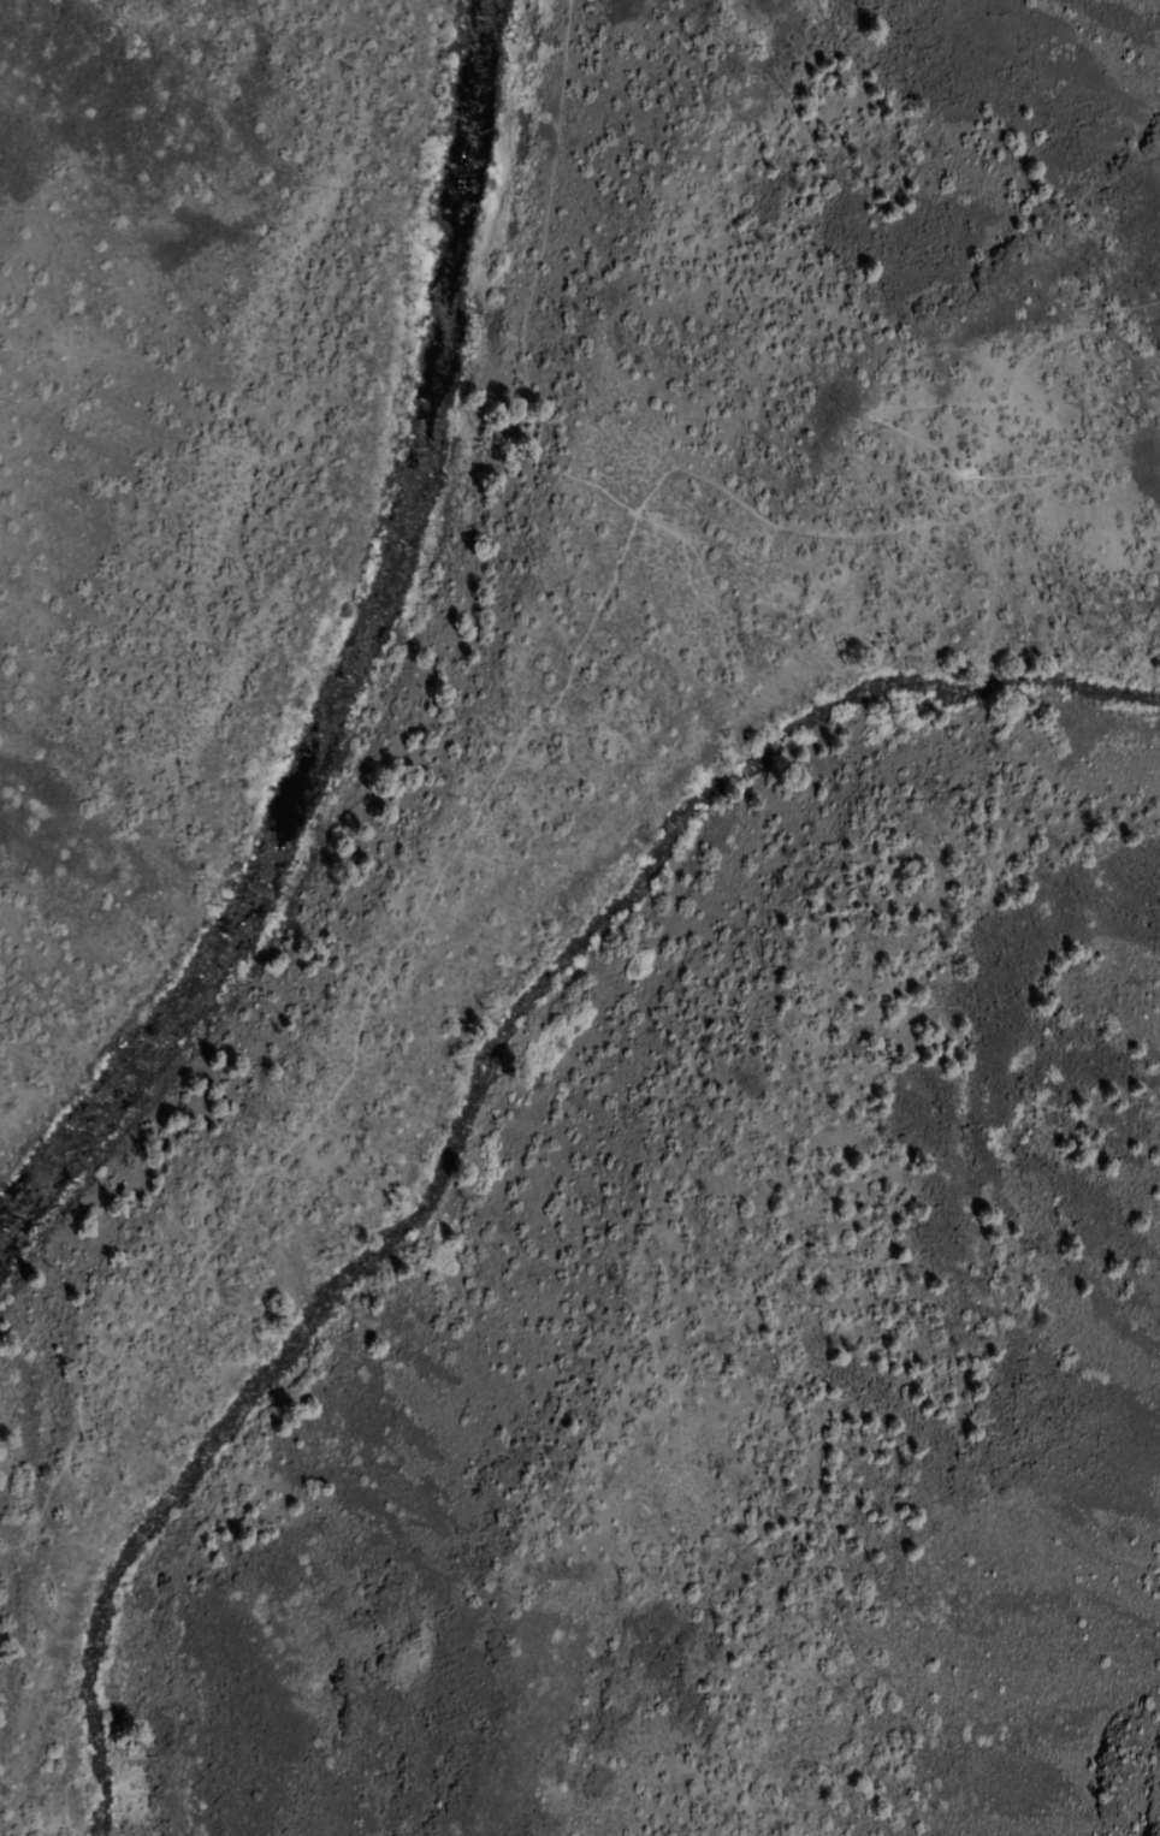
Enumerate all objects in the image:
road: (525, 322)
road: (594, 608)
road: (710, 610)
river: (373, 681)
road: (6, 1789)

